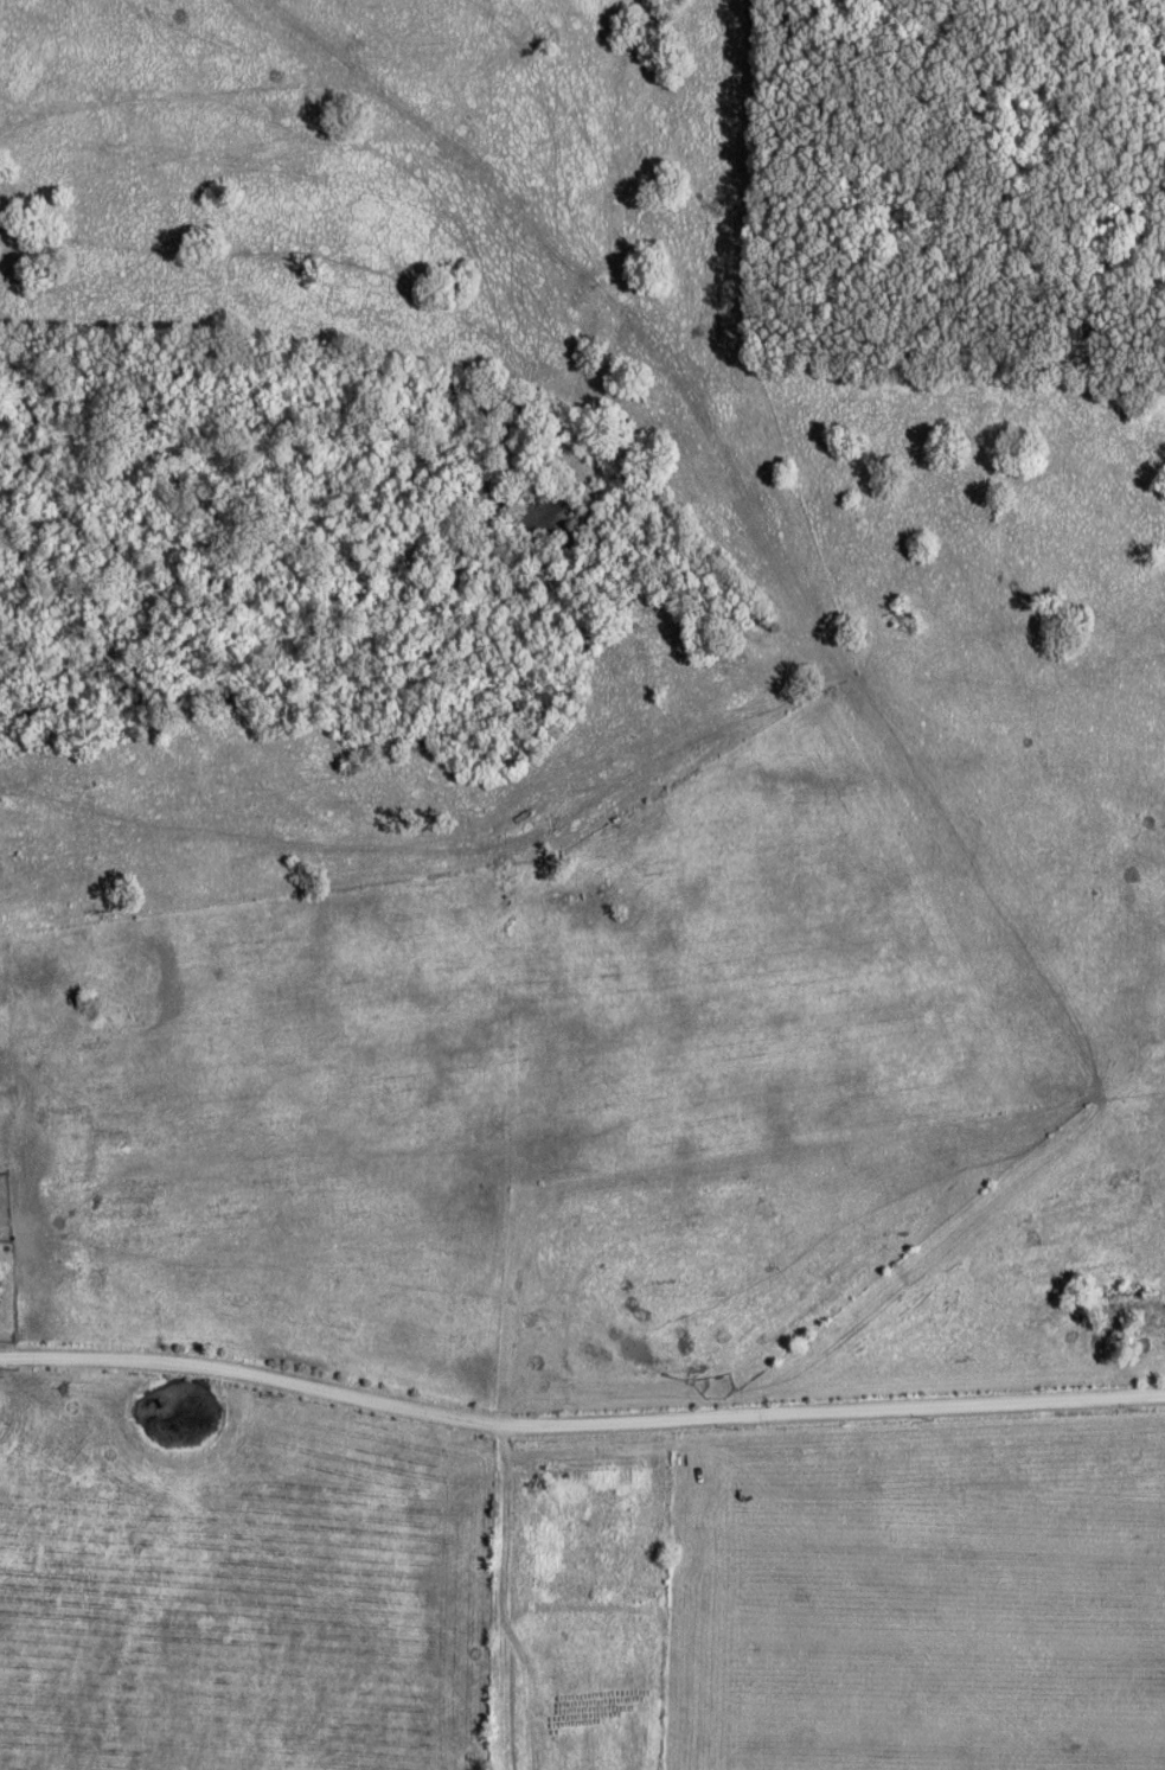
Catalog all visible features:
road: (580, 1419)

